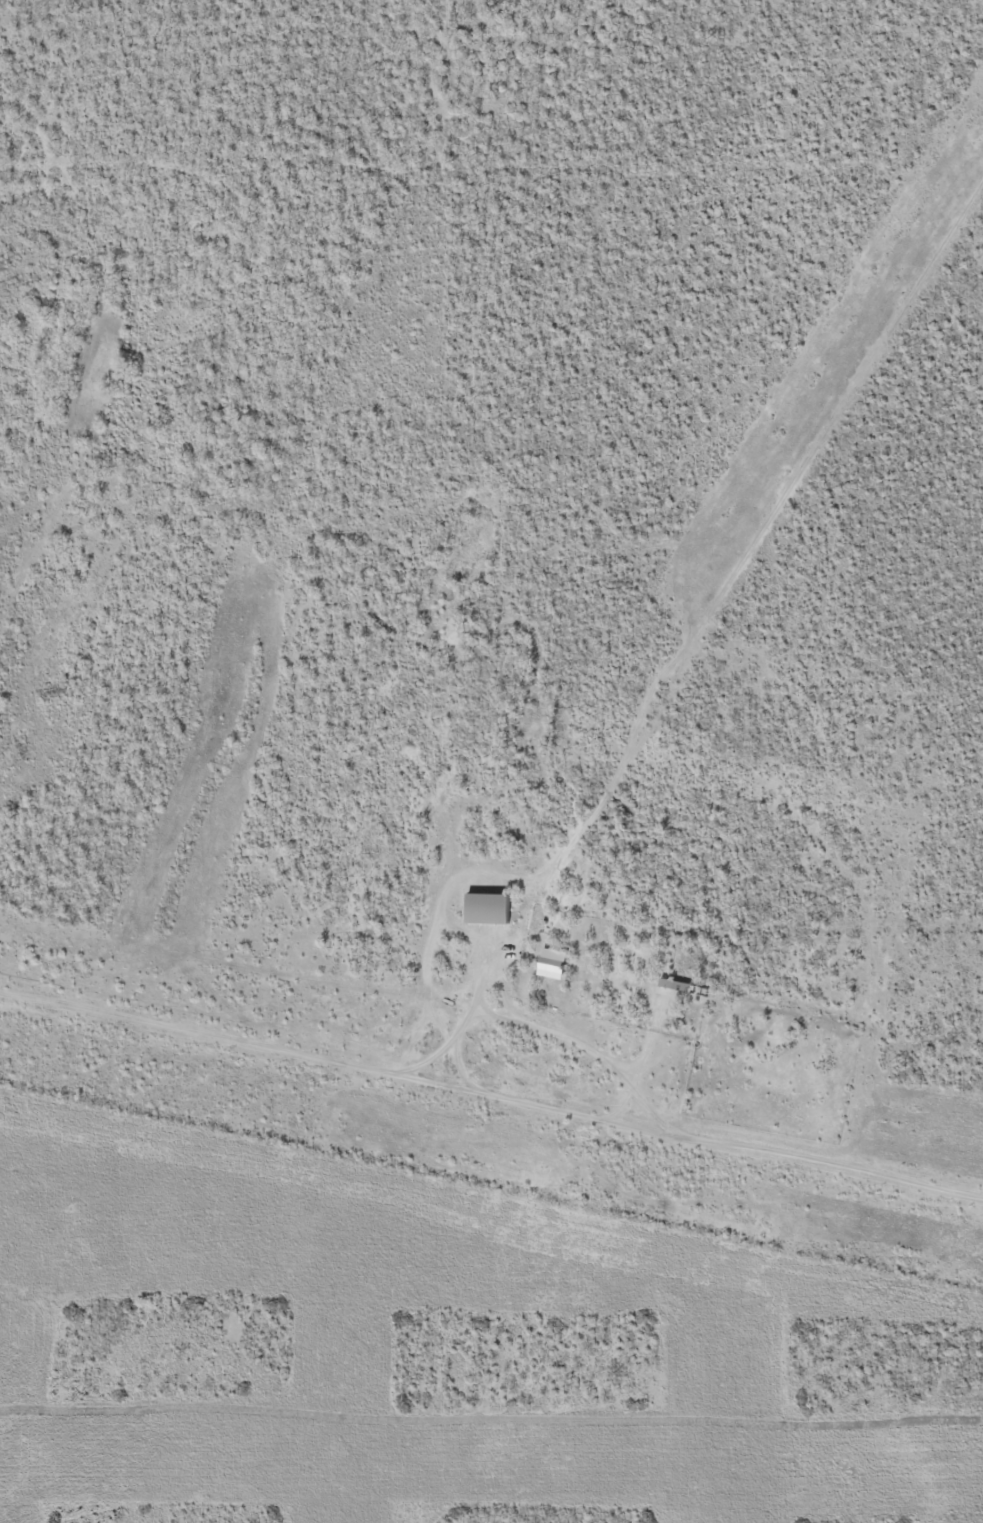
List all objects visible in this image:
building: (551, 964)
road: (491, 1094)

